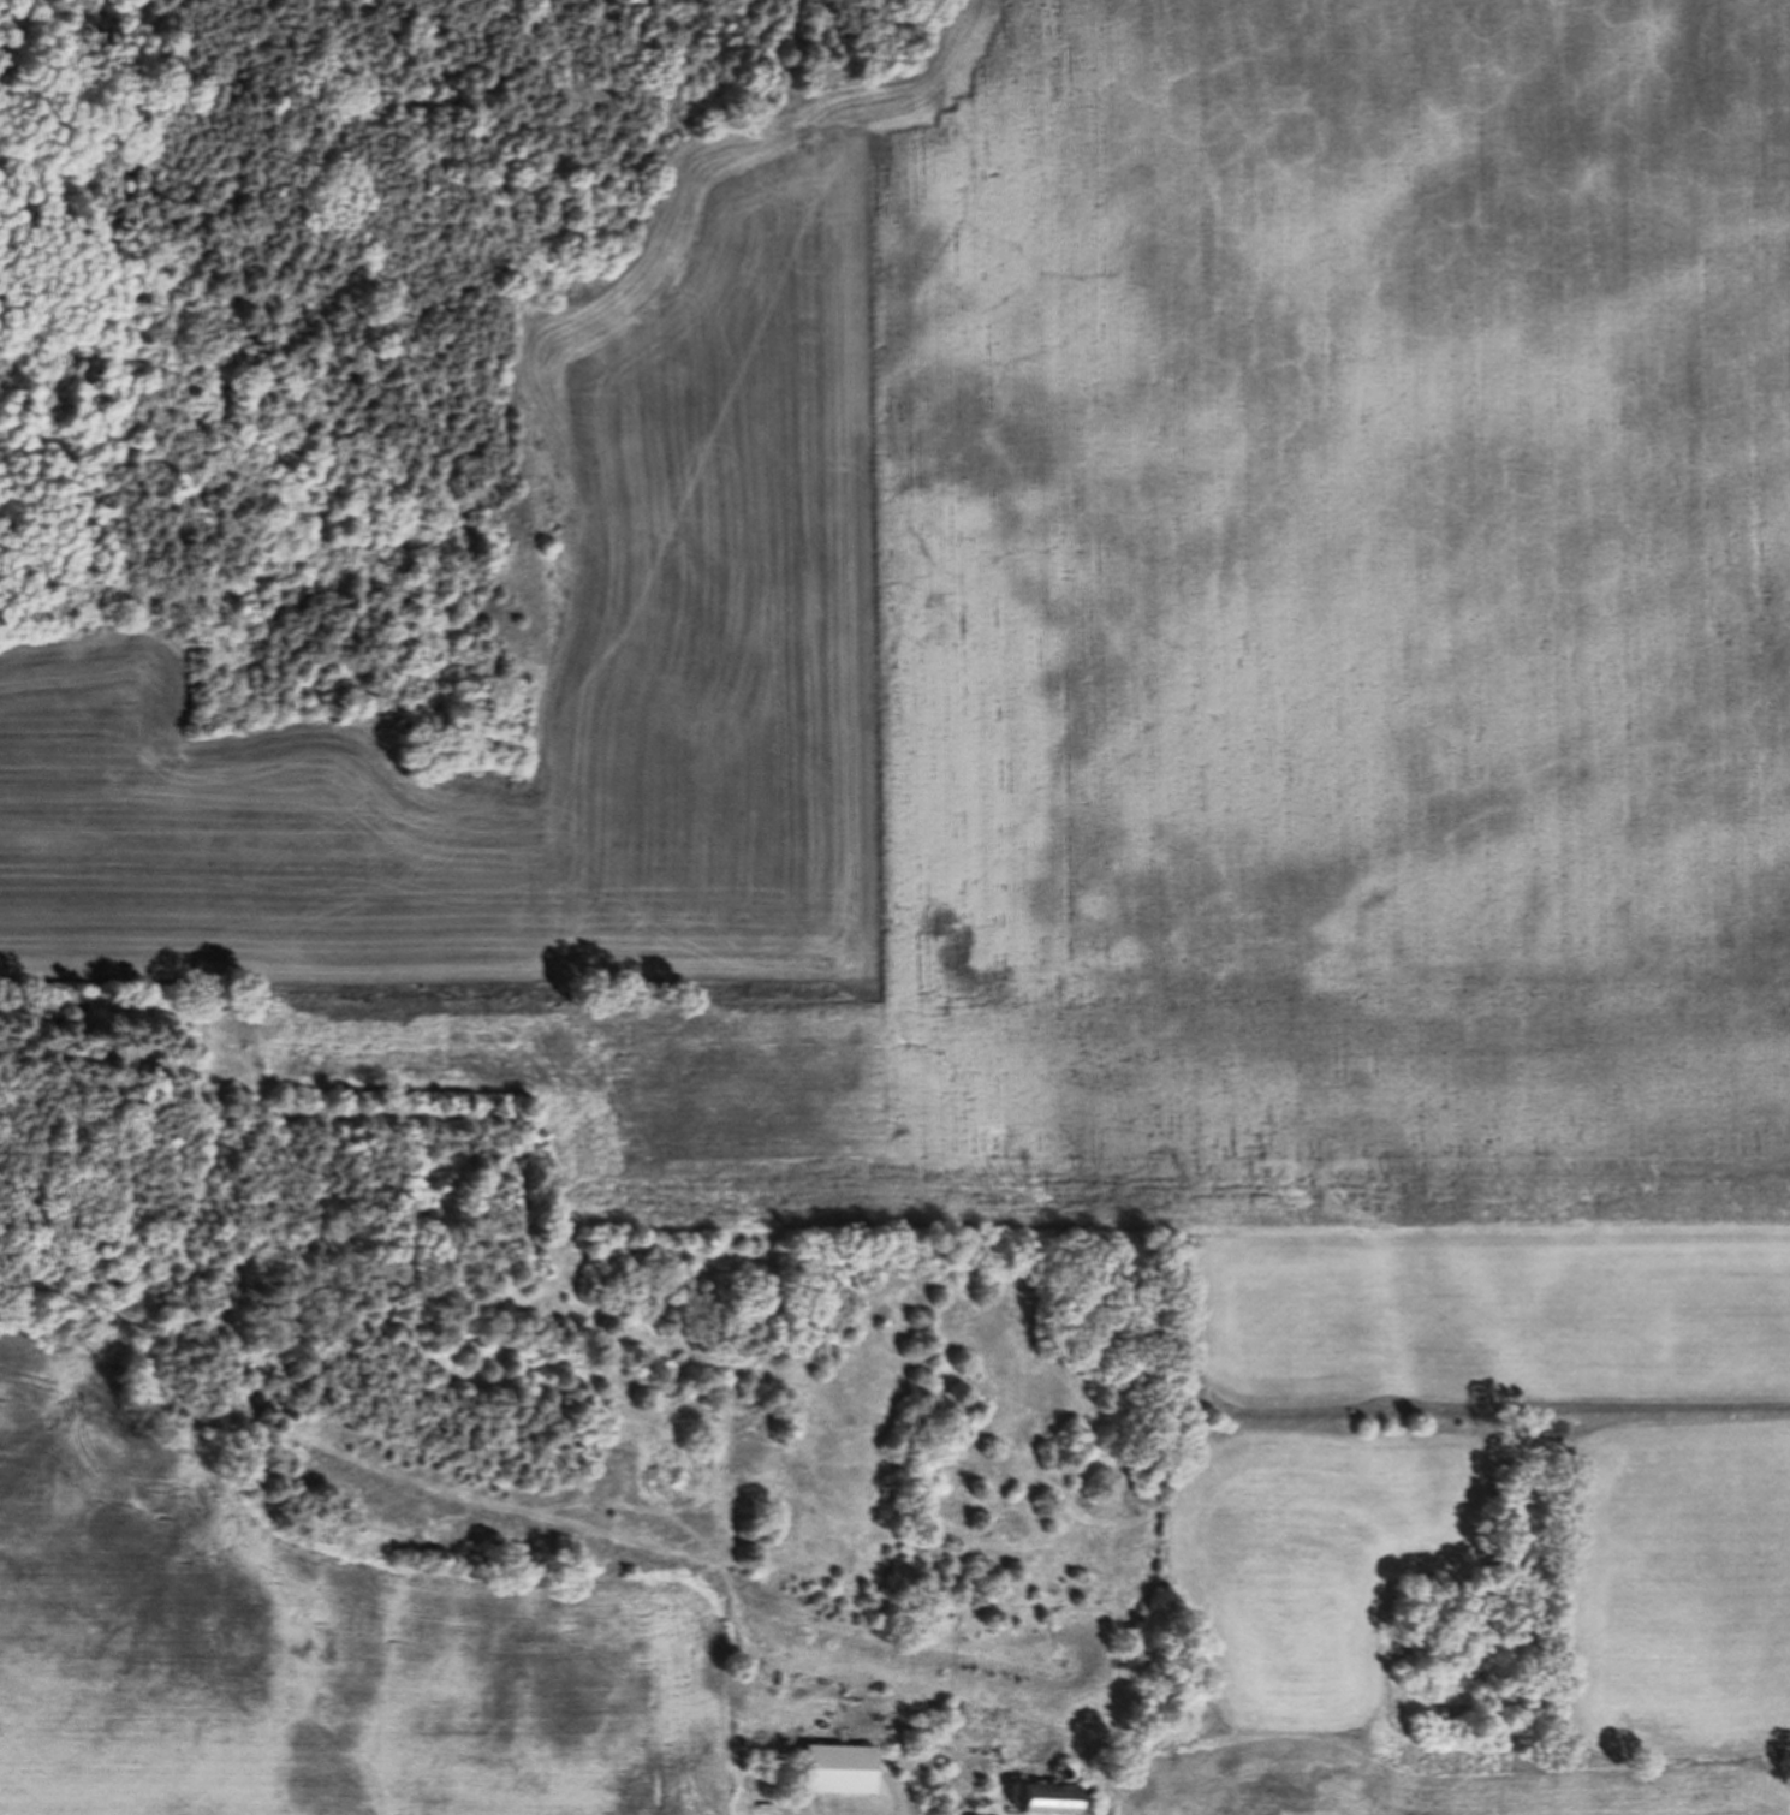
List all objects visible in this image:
building: (838, 1778)
building: (1047, 1804)

